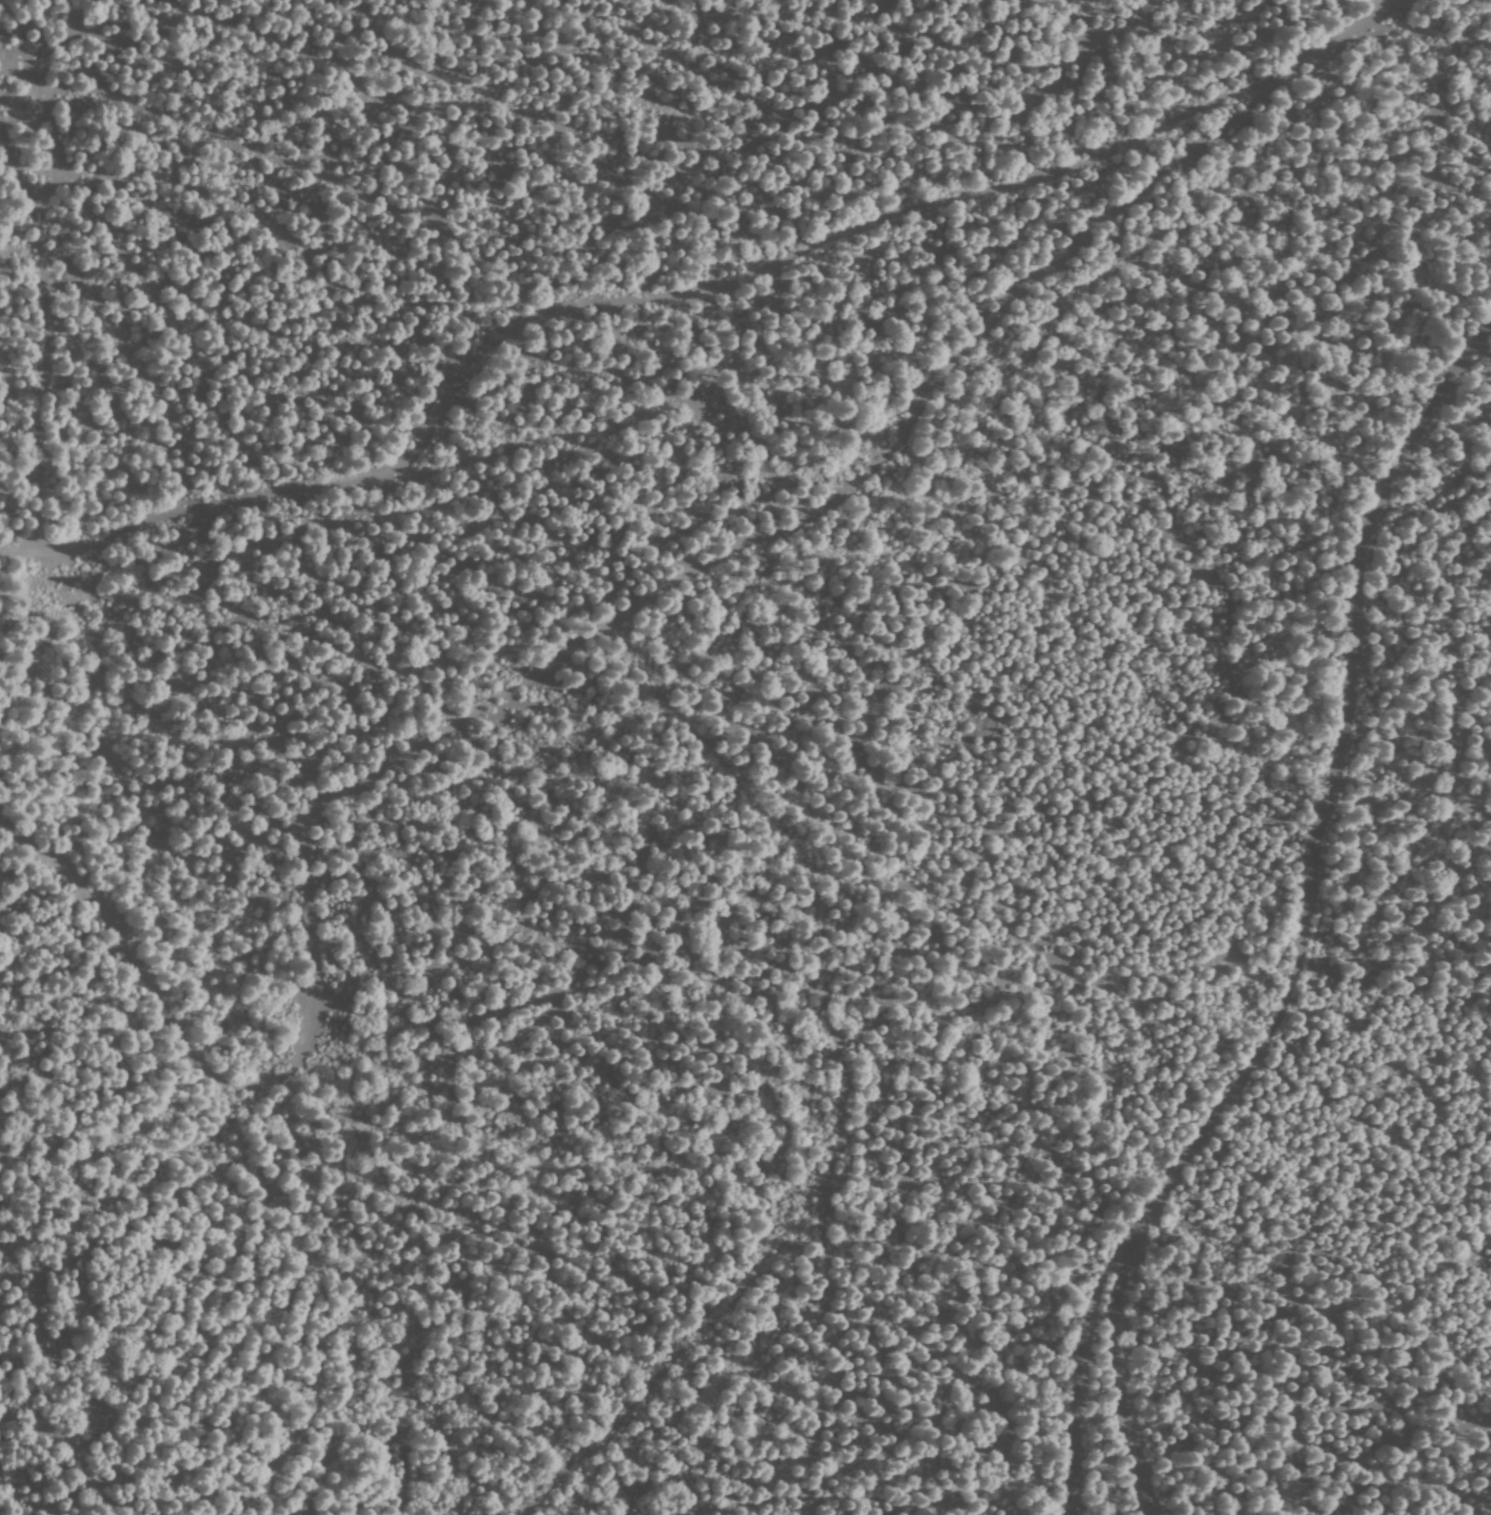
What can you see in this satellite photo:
road: (643, 301)
road: (600, 633)
road: (1299, 922)
road: (1078, 1378)

